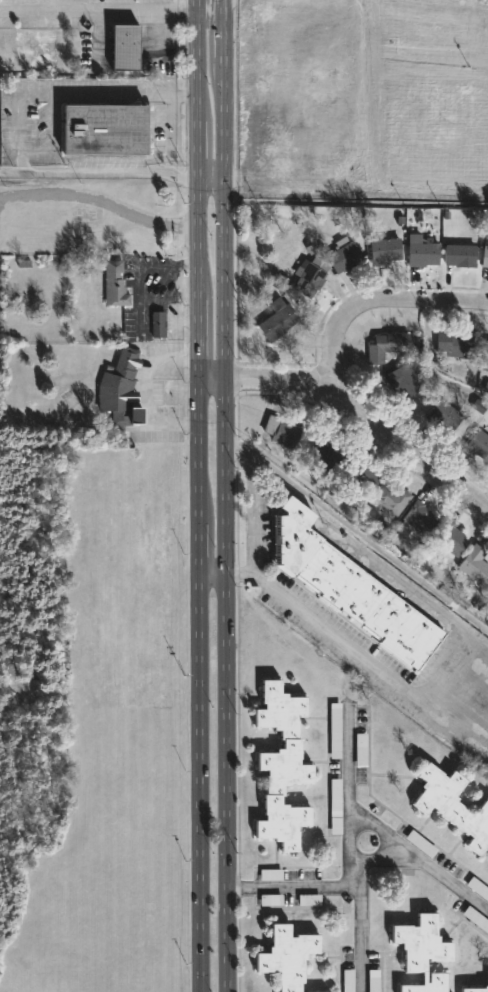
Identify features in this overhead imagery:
road: (206, 3)
road: (97, 6)
building: (129, 46)
building: (106, 129)
road: (15, 131)
road: (8, 170)
road: (209, 175)
road: (99, 203)
building: (423, 250)
building: (386, 251)
building: (485, 251)
building: (346, 254)
building: (460, 254)
building: (311, 275)
building: (117, 284)
road: (372, 295)
building: (280, 319)
building: (160, 323)
building: (454, 344)
building: (388, 346)
building: (484, 356)
road: (208, 379)
building: (399, 382)
building: (121, 390)
road: (146, 393)
building: (445, 416)
road: (365, 420)
building: (283, 431)
building: (477, 444)
building: (328, 454)
building: (364, 472)
road: (195, 495)
road: (223, 495)
building: (392, 497)
road: (252, 516)
building: (415, 518)
building: (377, 528)
road: (358, 532)
building: (452, 539)
building: (475, 563)
road: (210, 572)
building: (348, 589)
road: (465, 638)
building: (279, 737)
road: (351, 789)
building: (450, 804)
building: (279, 820)
road: (381, 833)
road: (420, 861)
road: (345, 884)
building: (476, 919)
building: (421, 940)
building: (284, 956)
building: (424, 983)
building: (475, 989)
building: (320, 991)

